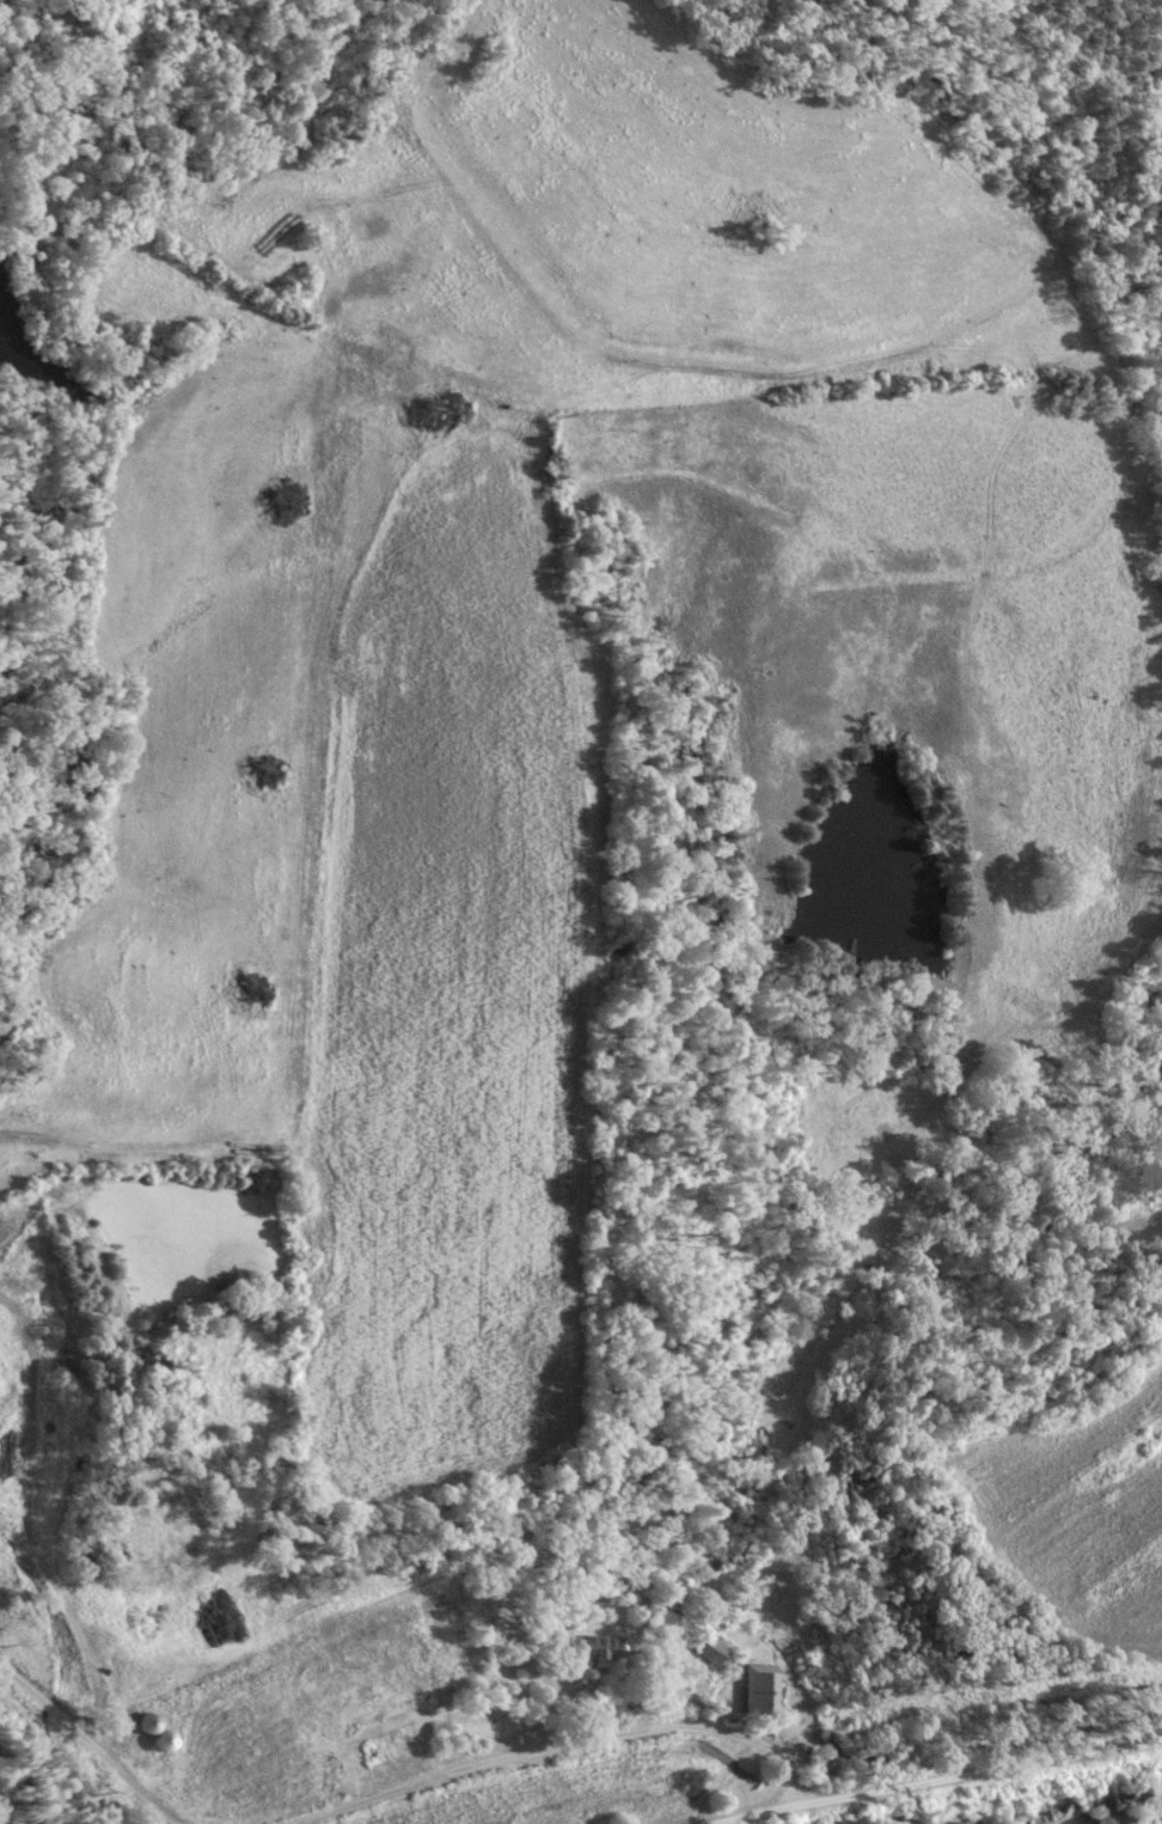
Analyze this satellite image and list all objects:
road: (25, 1519)
building: (723, 1551)
building: (683, 1596)
building: (601, 1648)
building: (758, 1690)
building: (154, 1732)
road: (565, 1745)
road: (87, 1747)
building: (390, 1749)
road: (942, 1780)
road: (728, 1810)

